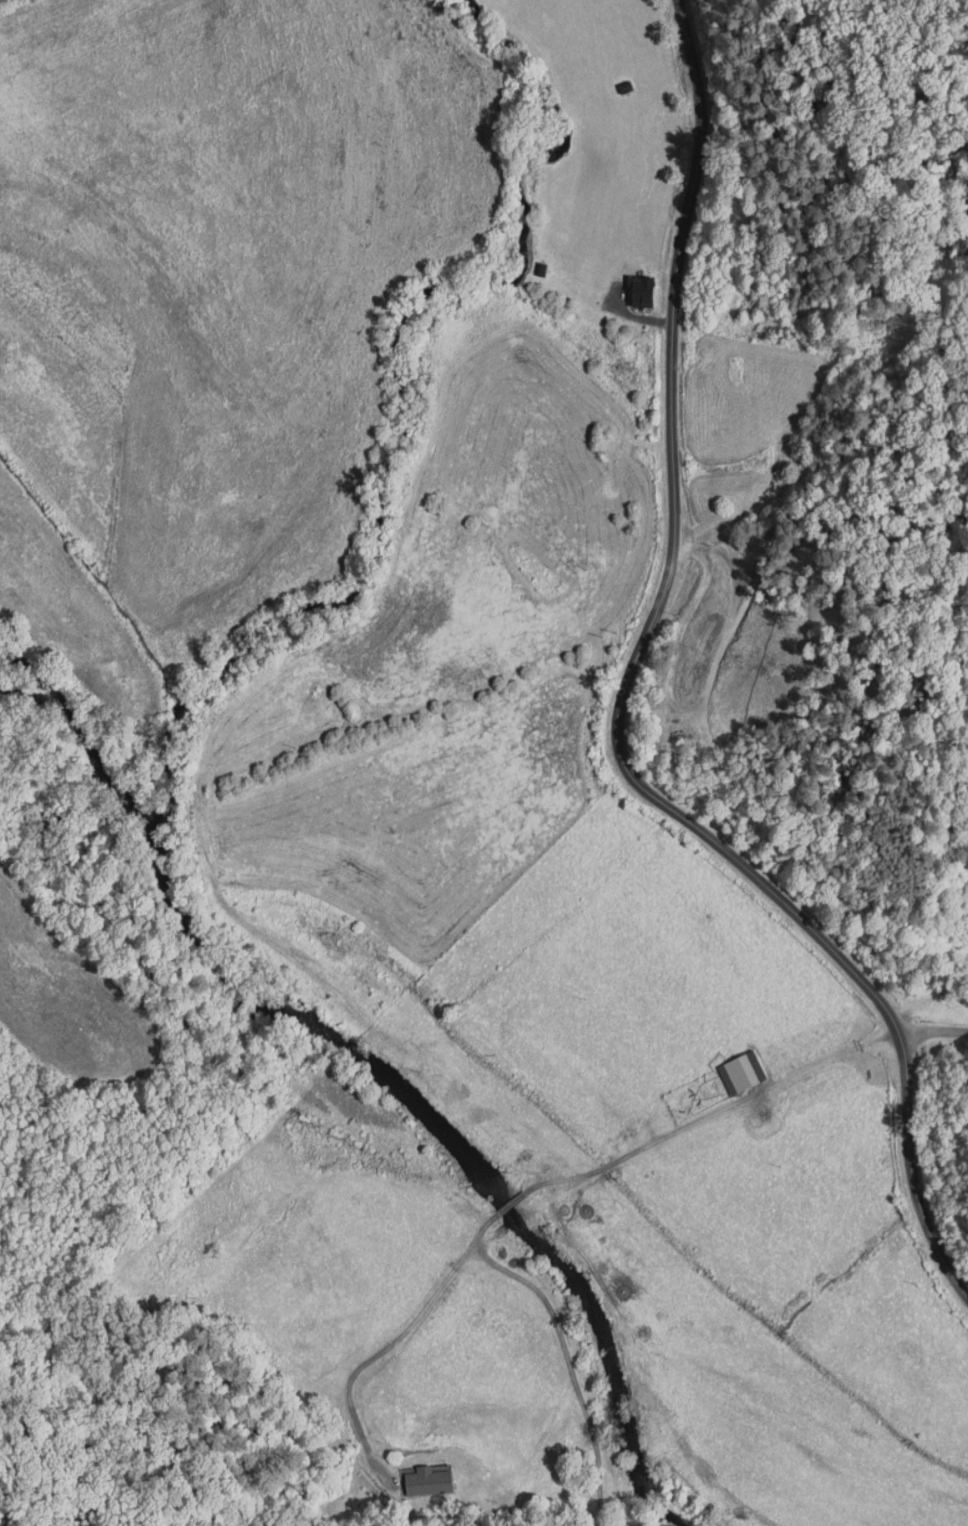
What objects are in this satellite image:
road: (619, 707)
road: (933, 1033)
building: (745, 1071)
road: (713, 1112)
river: (448, 1145)
road: (513, 1200)
road: (397, 1337)
road: (567, 1362)
building: (429, 1482)

